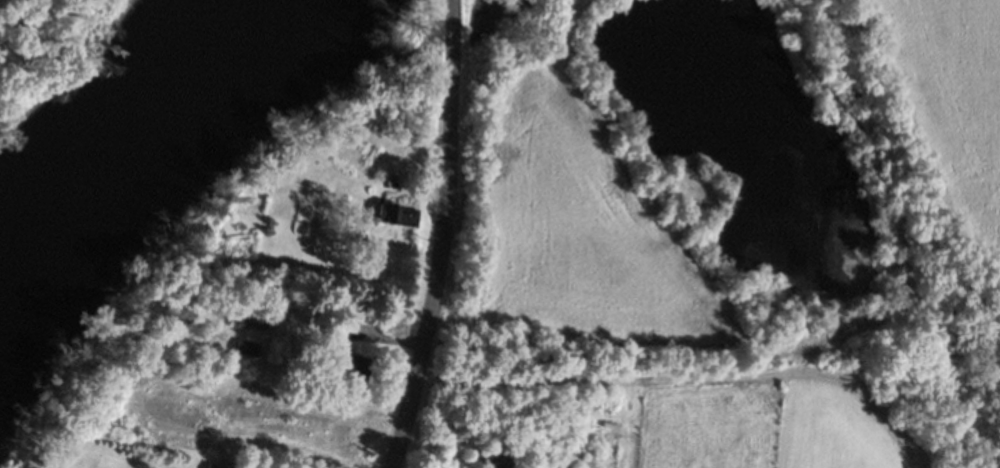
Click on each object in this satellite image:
river: (134, 125)
building: (396, 215)
road: (440, 236)
building: (246, 317)
building: (245, 347)
building: (343, 356)
building: (493, 457)
building: (216, 466)

